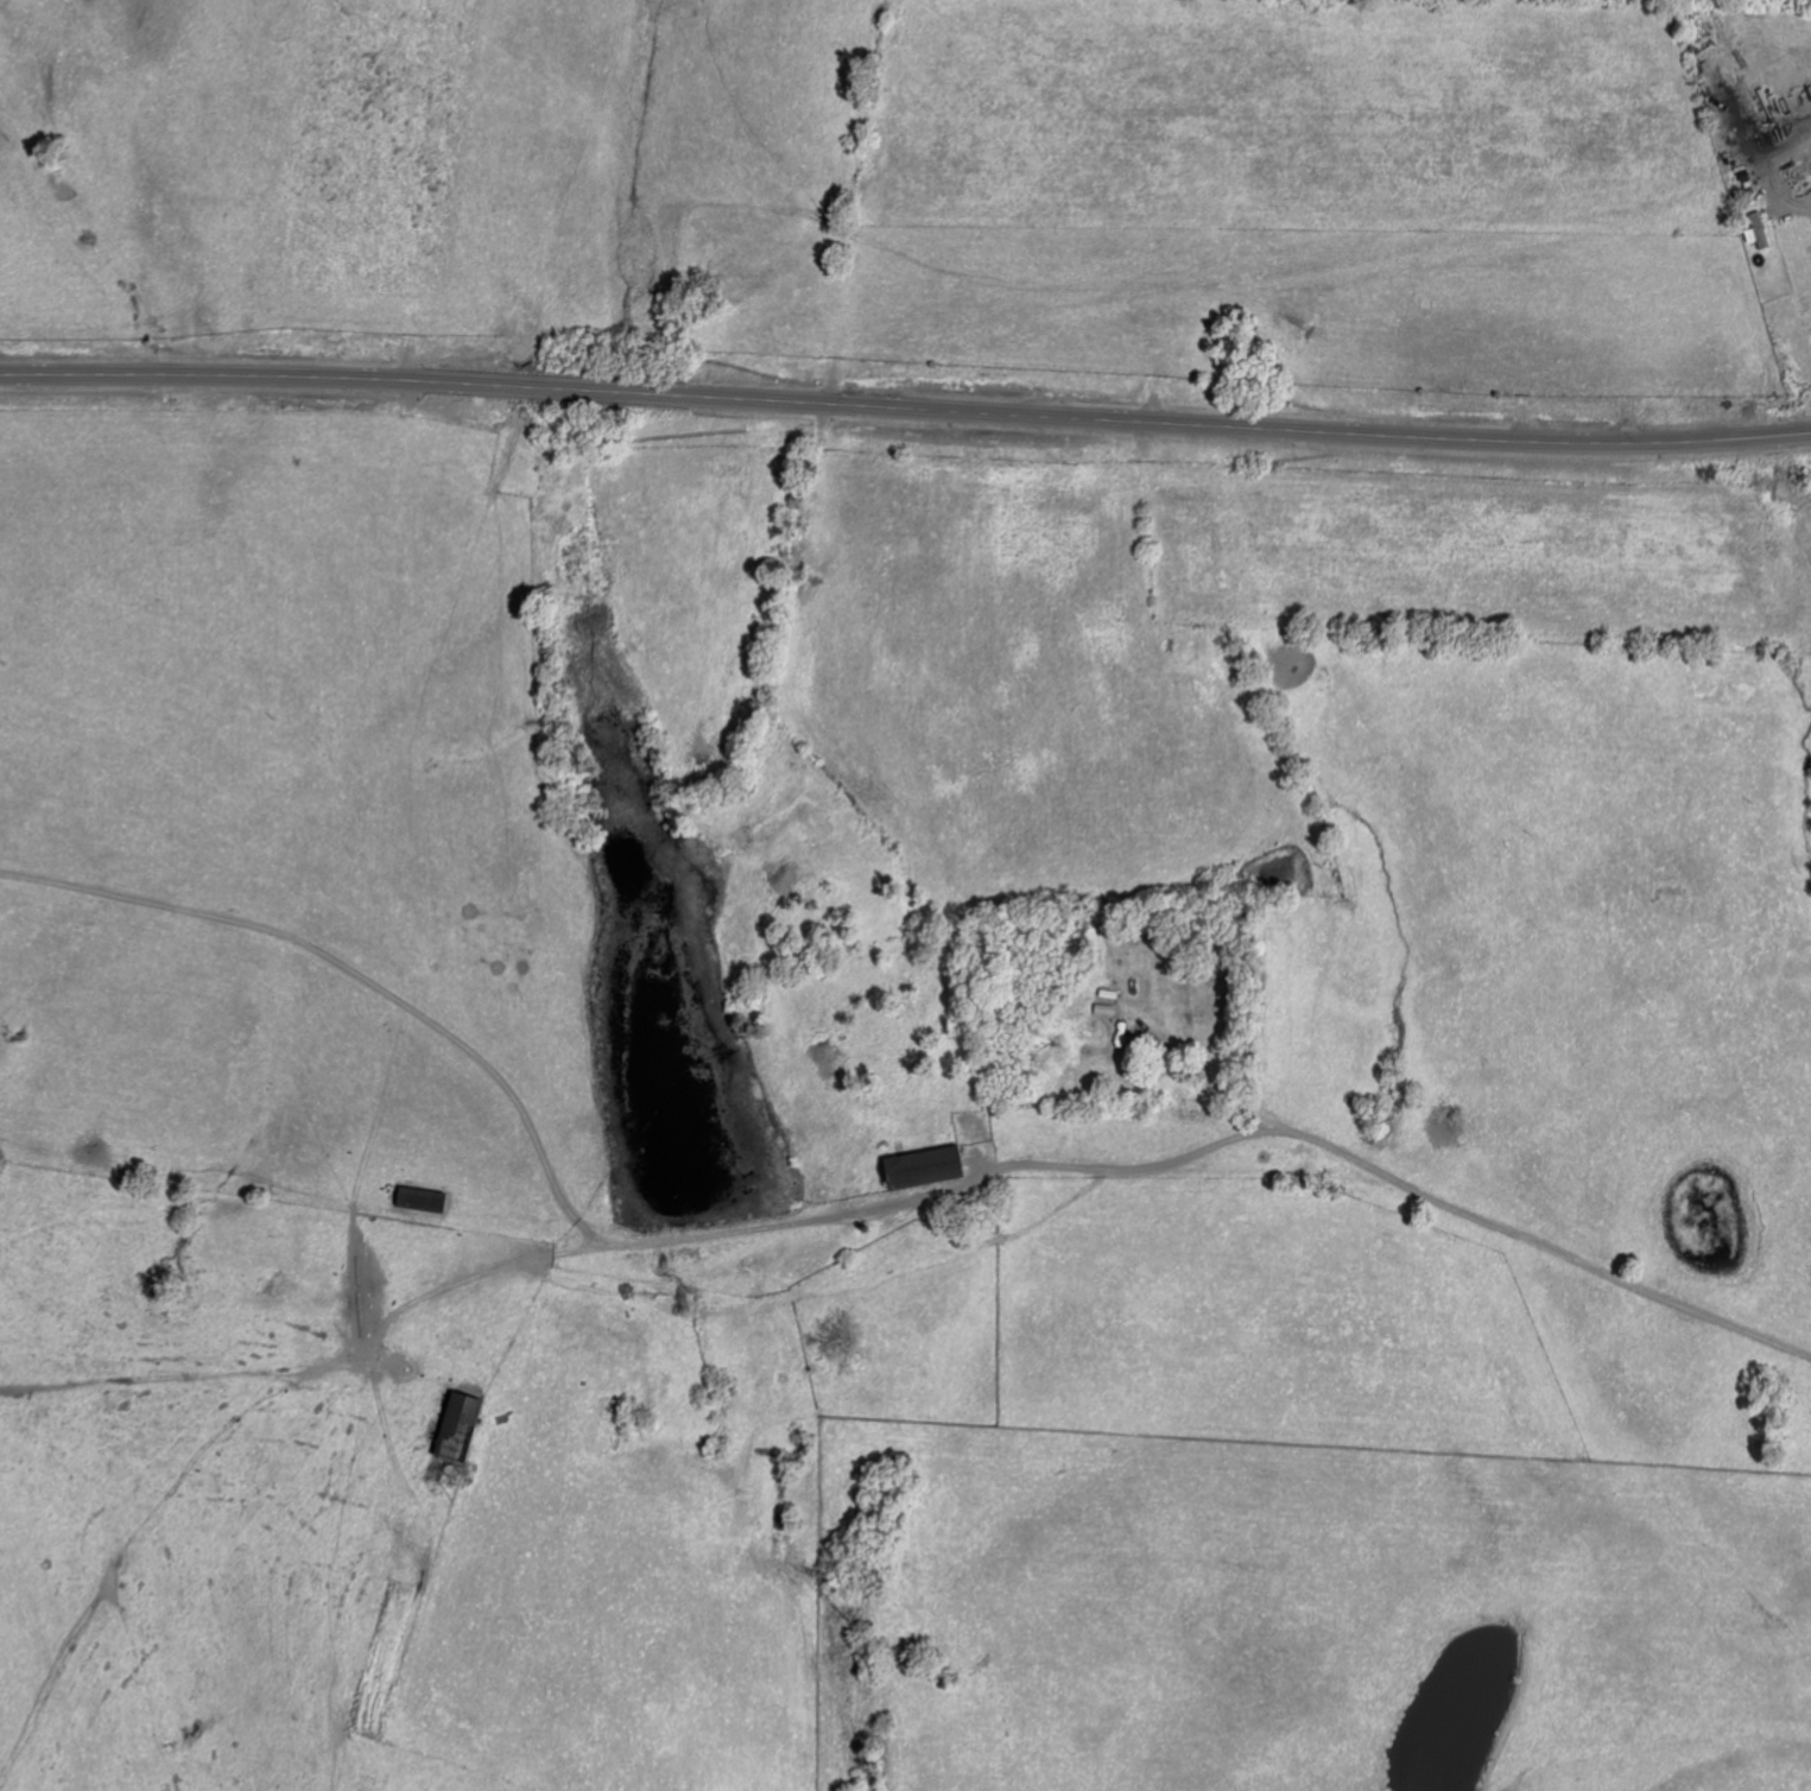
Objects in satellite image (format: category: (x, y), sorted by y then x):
road: (1768, 162)
building: (1761, 228)
road: (905, 411)
road: (1235, 1108)
building: (925, 1167)
building: (423, 1200)
road: (860, 1228)
building: (456, 1441)

